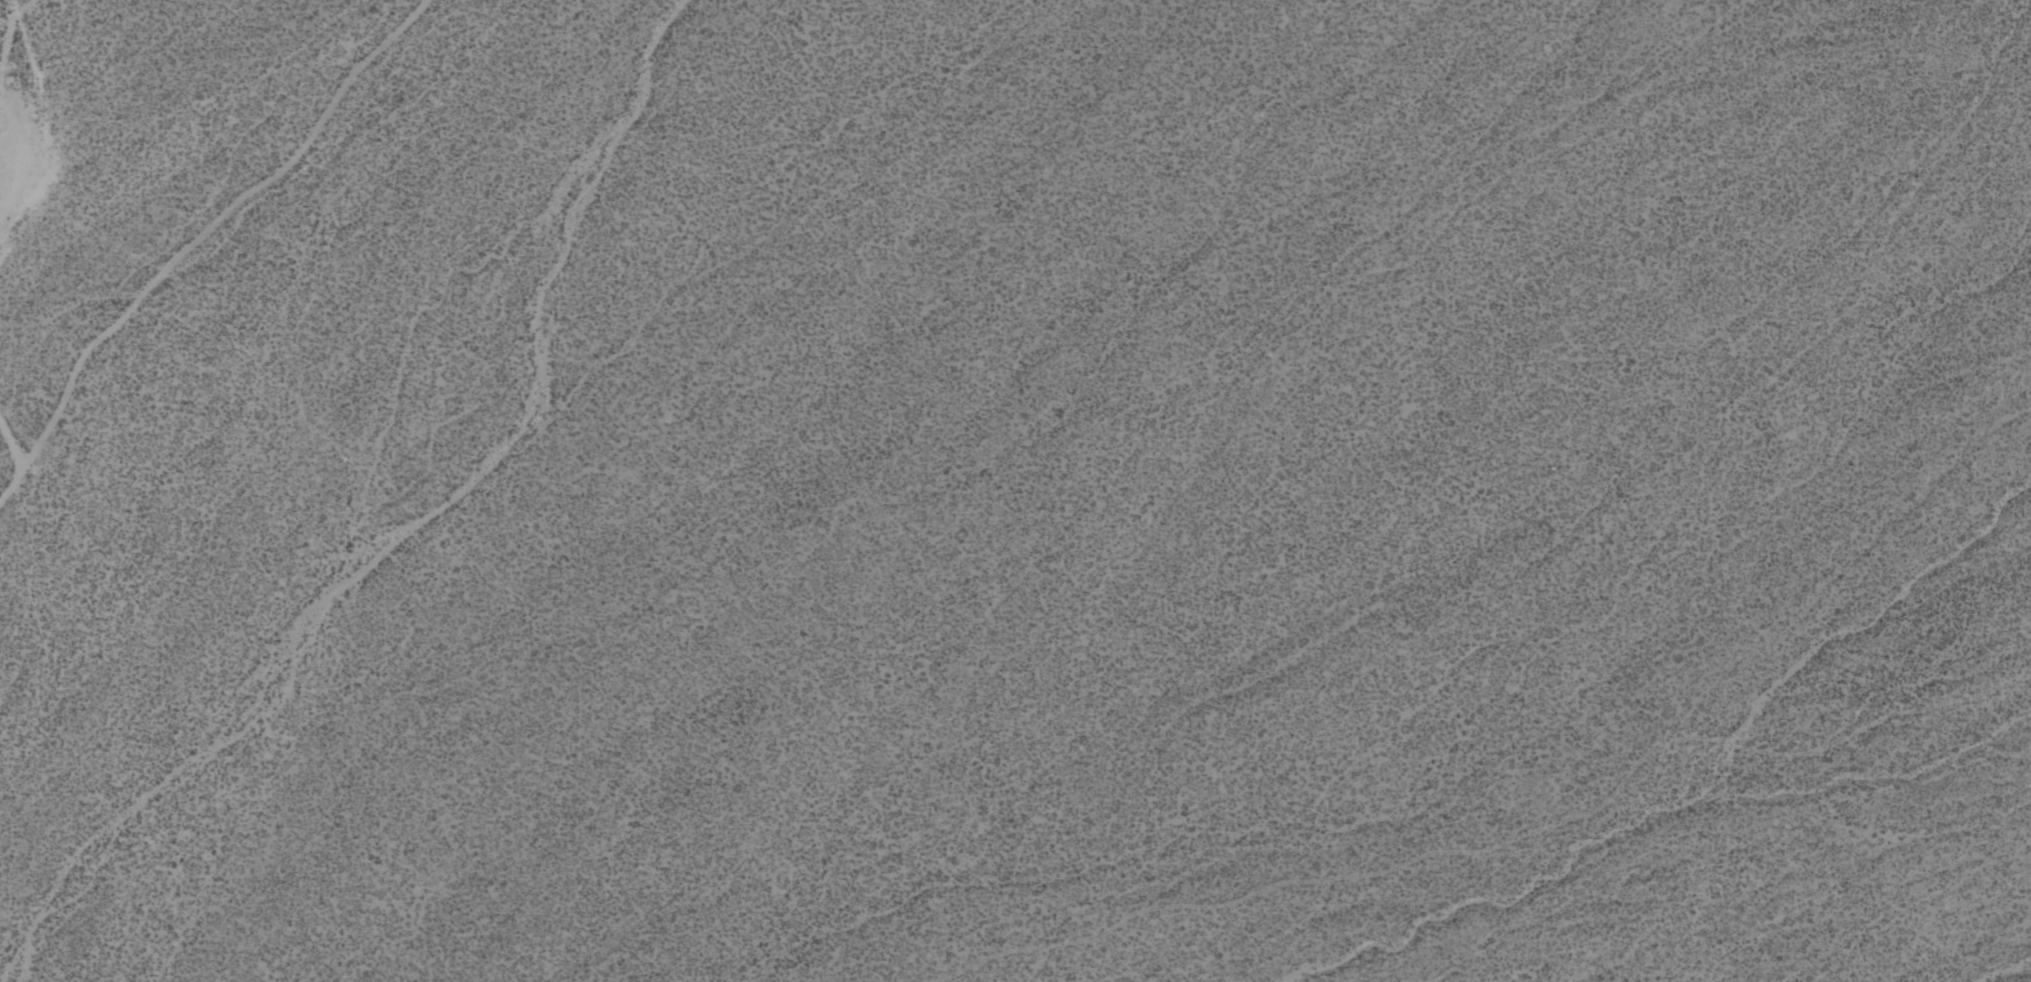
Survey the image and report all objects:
road: (11, 37)
road: (203, 241)
road: (11, 450)
road: (1494, 849)

